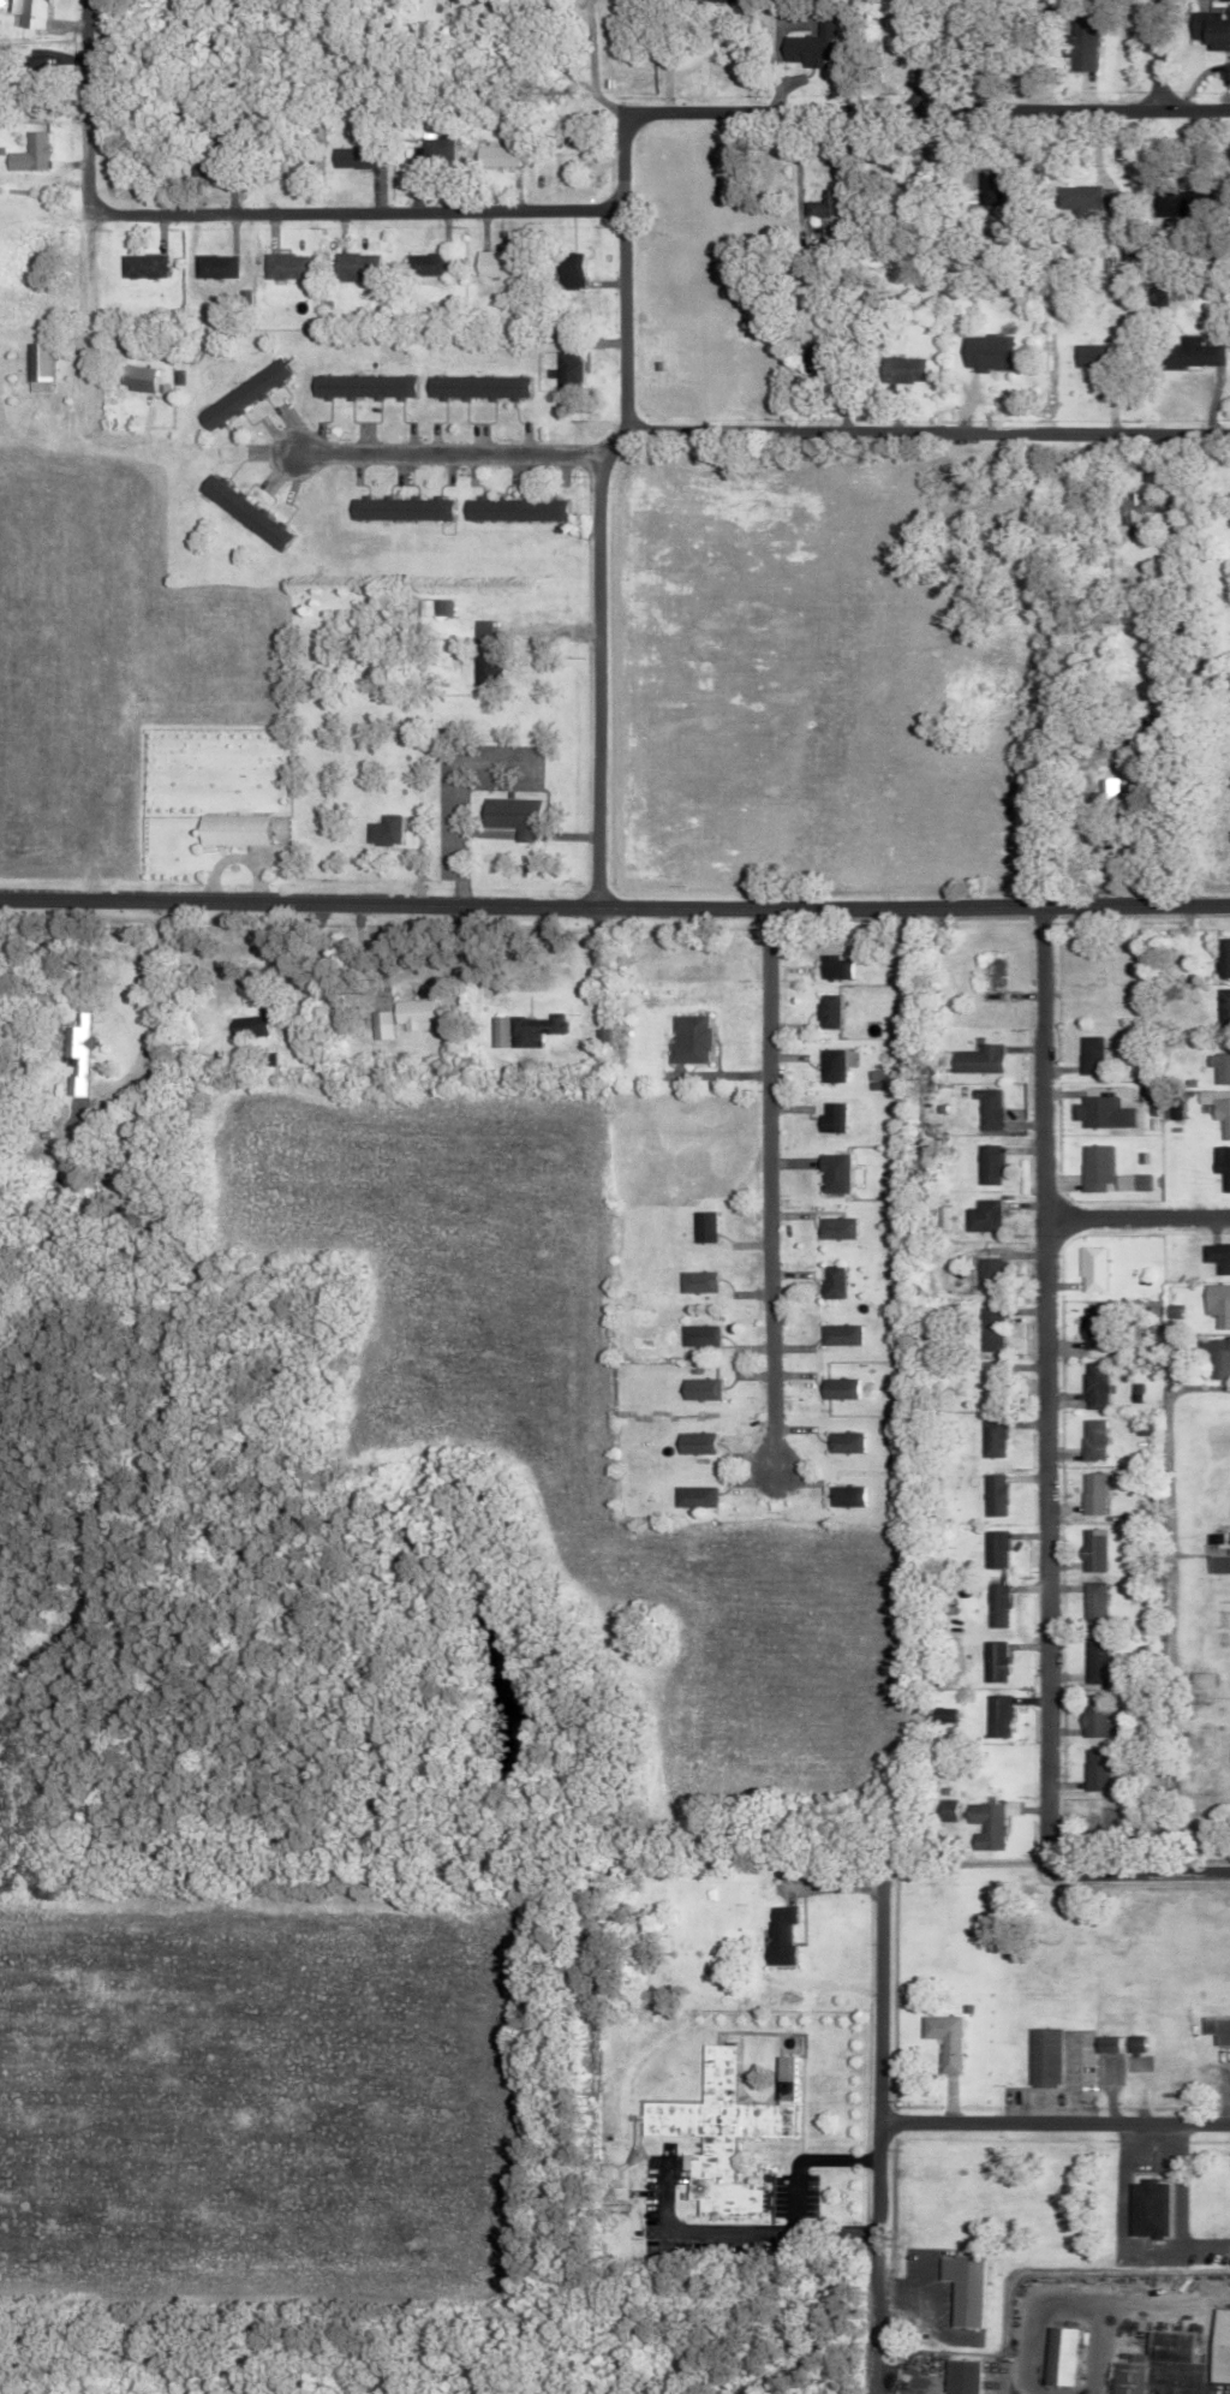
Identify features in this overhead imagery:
building: (732, 0)
building: (32, 12)
building: (808, 44)
road: (590, 46)
building: (1082, 52)
road: (665, 54)
road: (1160, 54)
road: (920, 55)
road: (566, 71)
road: (770, 109)
building: (430, 150)
building: (34, 154)
building: (353, 156)
building: (495, 156)
road: (796, 163)
building: (219, 167)
building: (987, 189)
road: (84, 193)
building: (1076, 198)
building: (820, 207)
road: (351, 210)
building: (490, 263)
building: (422, 264)
building: (351, 266)
building: (142, 267)
building: (215, 267)
building: (280, 267)
building: (565, 270)
building: (984, 353)
building: (1188, 353)
building: (802, 356)
building: (1088, 356)
building: (38, 367)
building: (563, 370)
building: (898, 370)
building: (138, 377)
building: (364, 386)
building: (474, 387)
building: (244, 393)
road: (925, 430)
road: (444, 451)
building: (401, 507)
building: (518, 508)
building: (1132, 508)
building: (245, 512)
building: (440, 607)
building: (484, 656)
road: (593, 665)
road: (450, 798)
building: (1094, 798)
building: (514, 815)
building: (233, 829)
building: (383, 829)
road: (614, 907)
building: (1220, 957)
building: (836, 966)
road: (244, 978)
road: (151, 1005)
building: (1222, 1007)
building: (830, 1011)
building: (416, 1013)
building: (245, 1028)
building: (381, 1028)
building: (529, 1030)
building: (692, 1040)
building: (73, 1041)
building: (1087, 1054)
building: (975, 1059)
building: (836, 1064)
building: (1218, 1067)
building: (987, 1108)
building: (1098, 1112)
building: (1217, 1112)
building: (835, 1116)
building: (986, 1163)
building: (1220, 1166)
building: (1092, 1167)
building: (840, 1173)
building: (1138, 1181)
road: (769, 1187)
building: (981, 1215)
road: (1136, 1217)
building: (706, 1226)
building: (841, 1228)
building: (1216, 1257)
building: (987, 1268)
building: (1089, 1268)
building: (699, 1281)
building: (836, 1281)
building: (1216, 1304)
building: (1168, 1311)
building: (987, 1328)
building: (1087, 1328)
building: (843, 1334)
building: (699, 1335)
building: (1213, 1356)
building: (991, 1371)
road: (1043, 1386)
building: (1091, 1386)
building: (843, 1388)
building: (700, 1389)
building: (990, 1437)
building: (1089, 1439)
building: (697, 1442)
building: (846, 1442)
building: (1089, 1493)
building: (991, 1494)
building: (693, 1496)
building: (847, 1496)
building: (1213, 1540)
building: (991, 1549)
building: (1089, 1550)
building: (1218, 1560)
building: (1091, 1603)
building: (993, 1604)
building: (991, 1661)
building: (1091, 1661)
building: (937, 1715)
building: (993, 1715)
building: (1092, 1717)
building: (1092, 1769)
building: (985, 1824)
road: (1135, 1872)
building: (781, 1935)
building: (1214, 2029)
building: (942, 2041)
building: (1103, 2044)
building: (1130, 2044)
building: (1040, 2057)
road: (879, 2076)
road: (1053, 2121)
building: (726, 2130)
road: (1175, 2184)
road: (792, 2191)
building: (1142, 2208)
road: (1117, 2238)
building: (962, 2287)
road: (930, 2311)
road: (874, 2344)
building: (1217, 2347)
building: (1058, 2356)
building: (1146, 2359)
building: (961, 2376)

